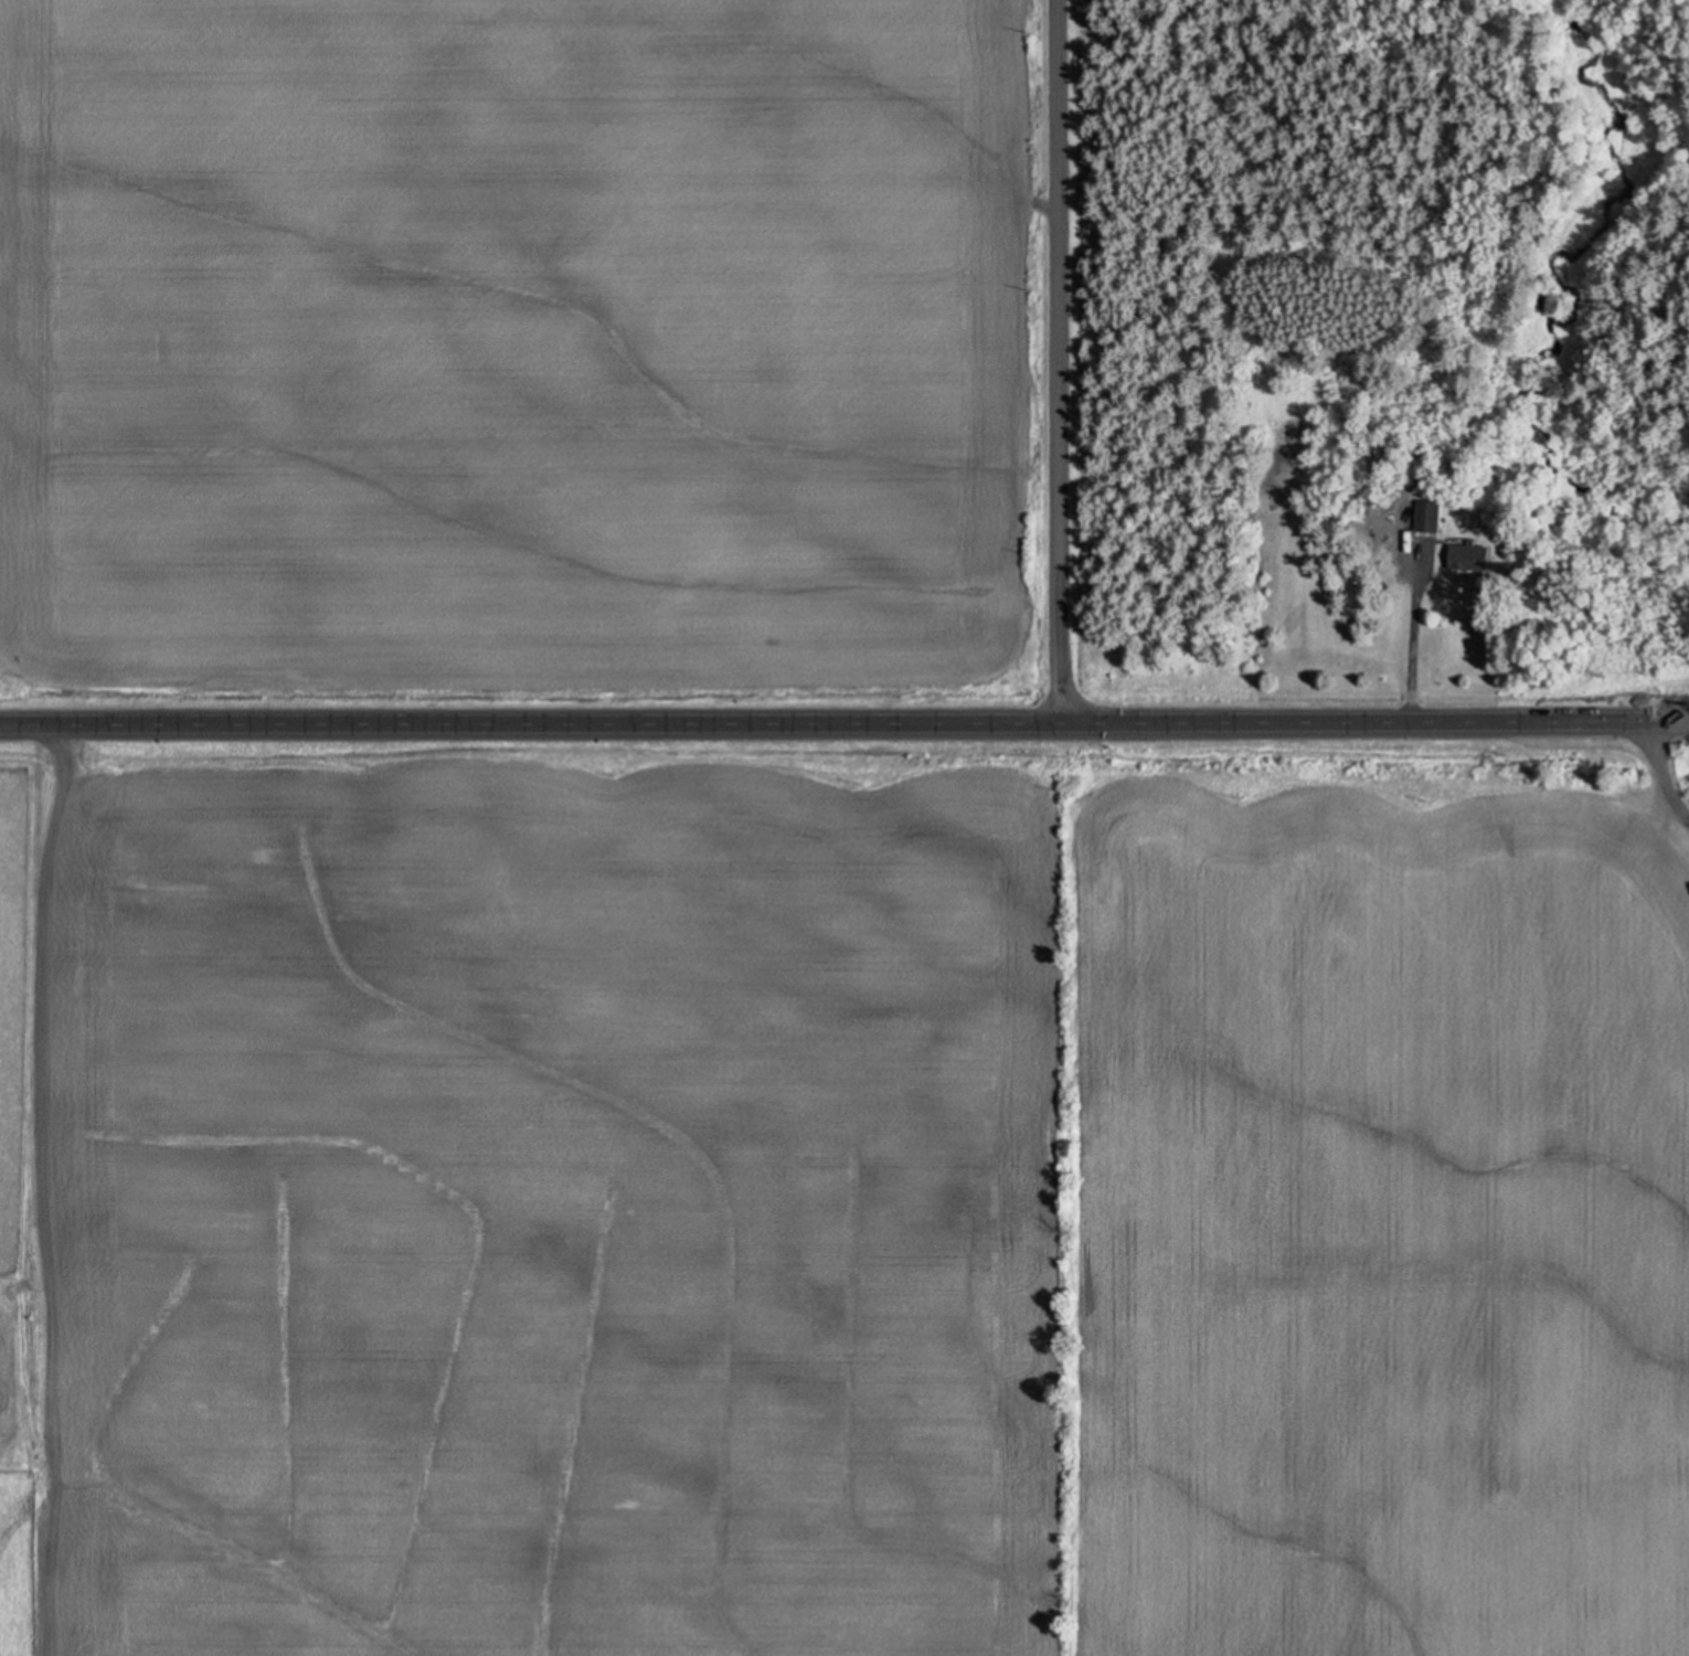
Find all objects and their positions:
road: (1106, 364)
building: (1430, 514)
building: (1472, 555)
road: (843, 729)
road: (1630, 808)

